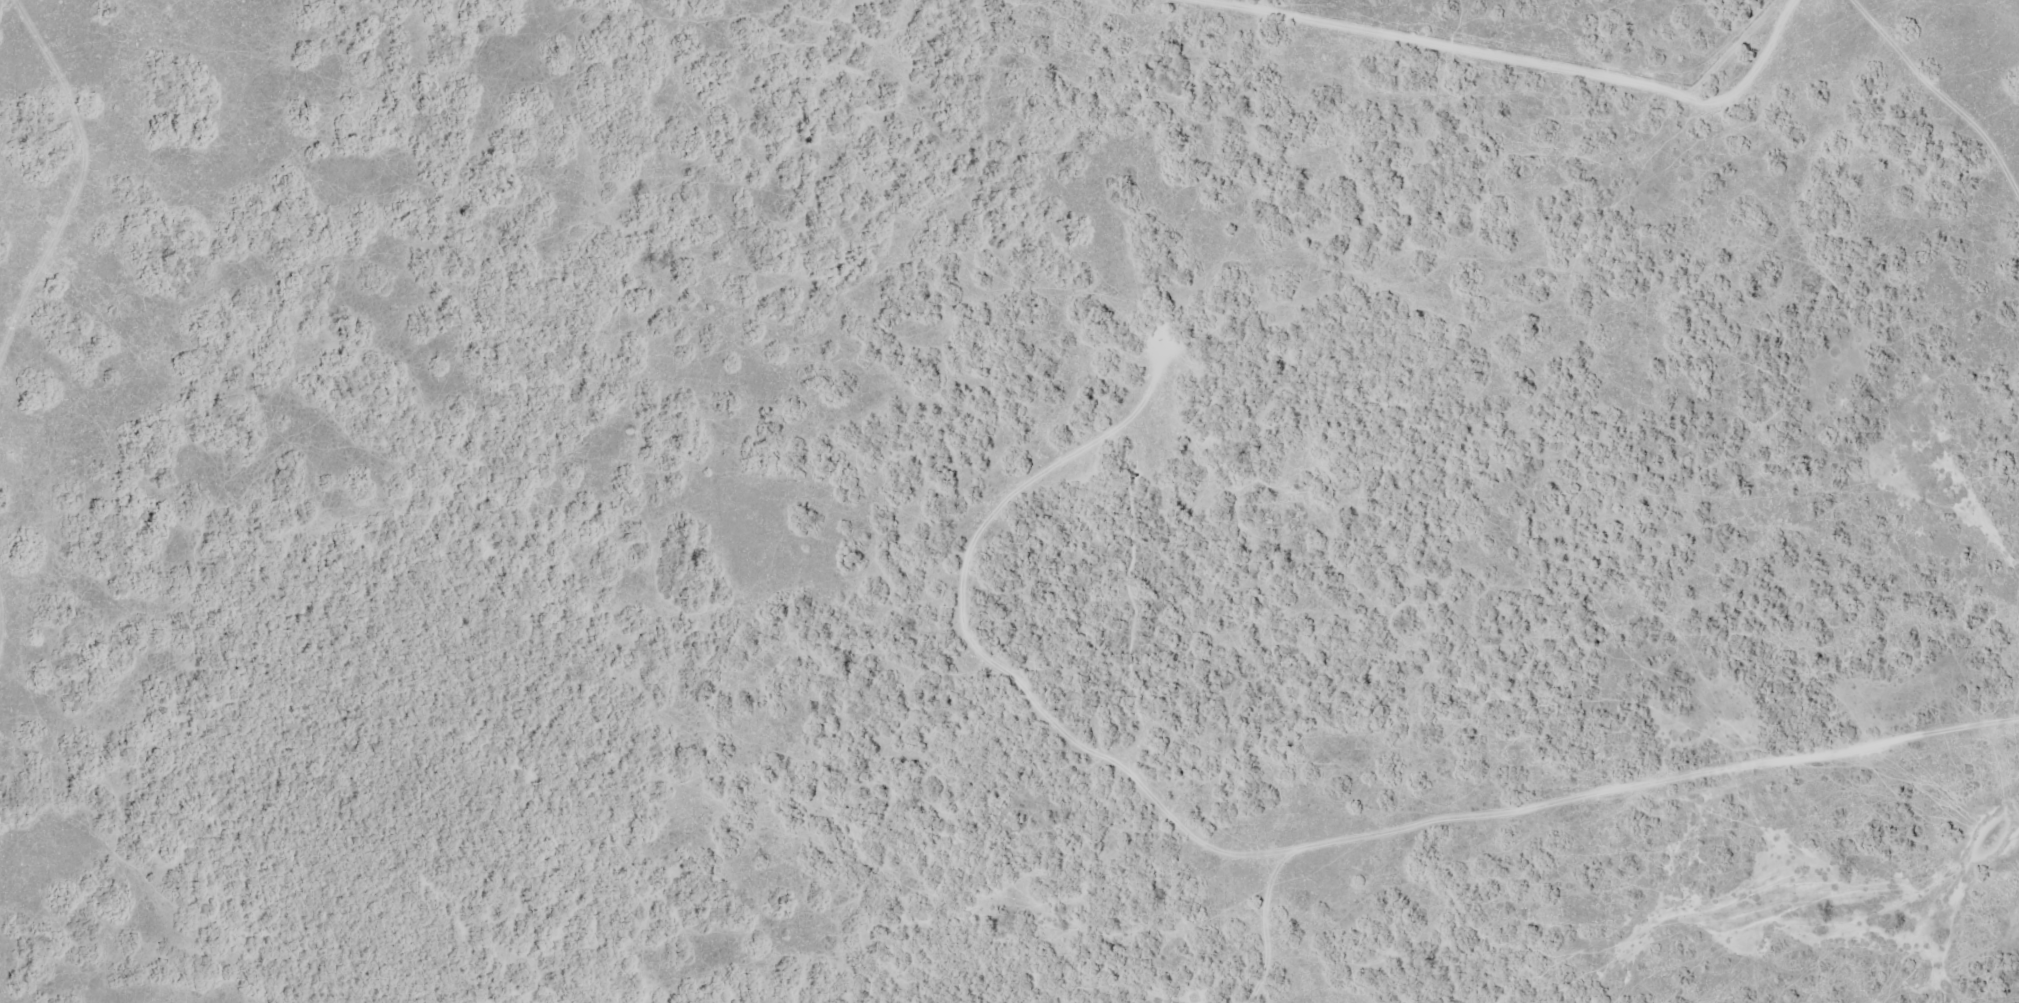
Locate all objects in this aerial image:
road: (1942, 76)

